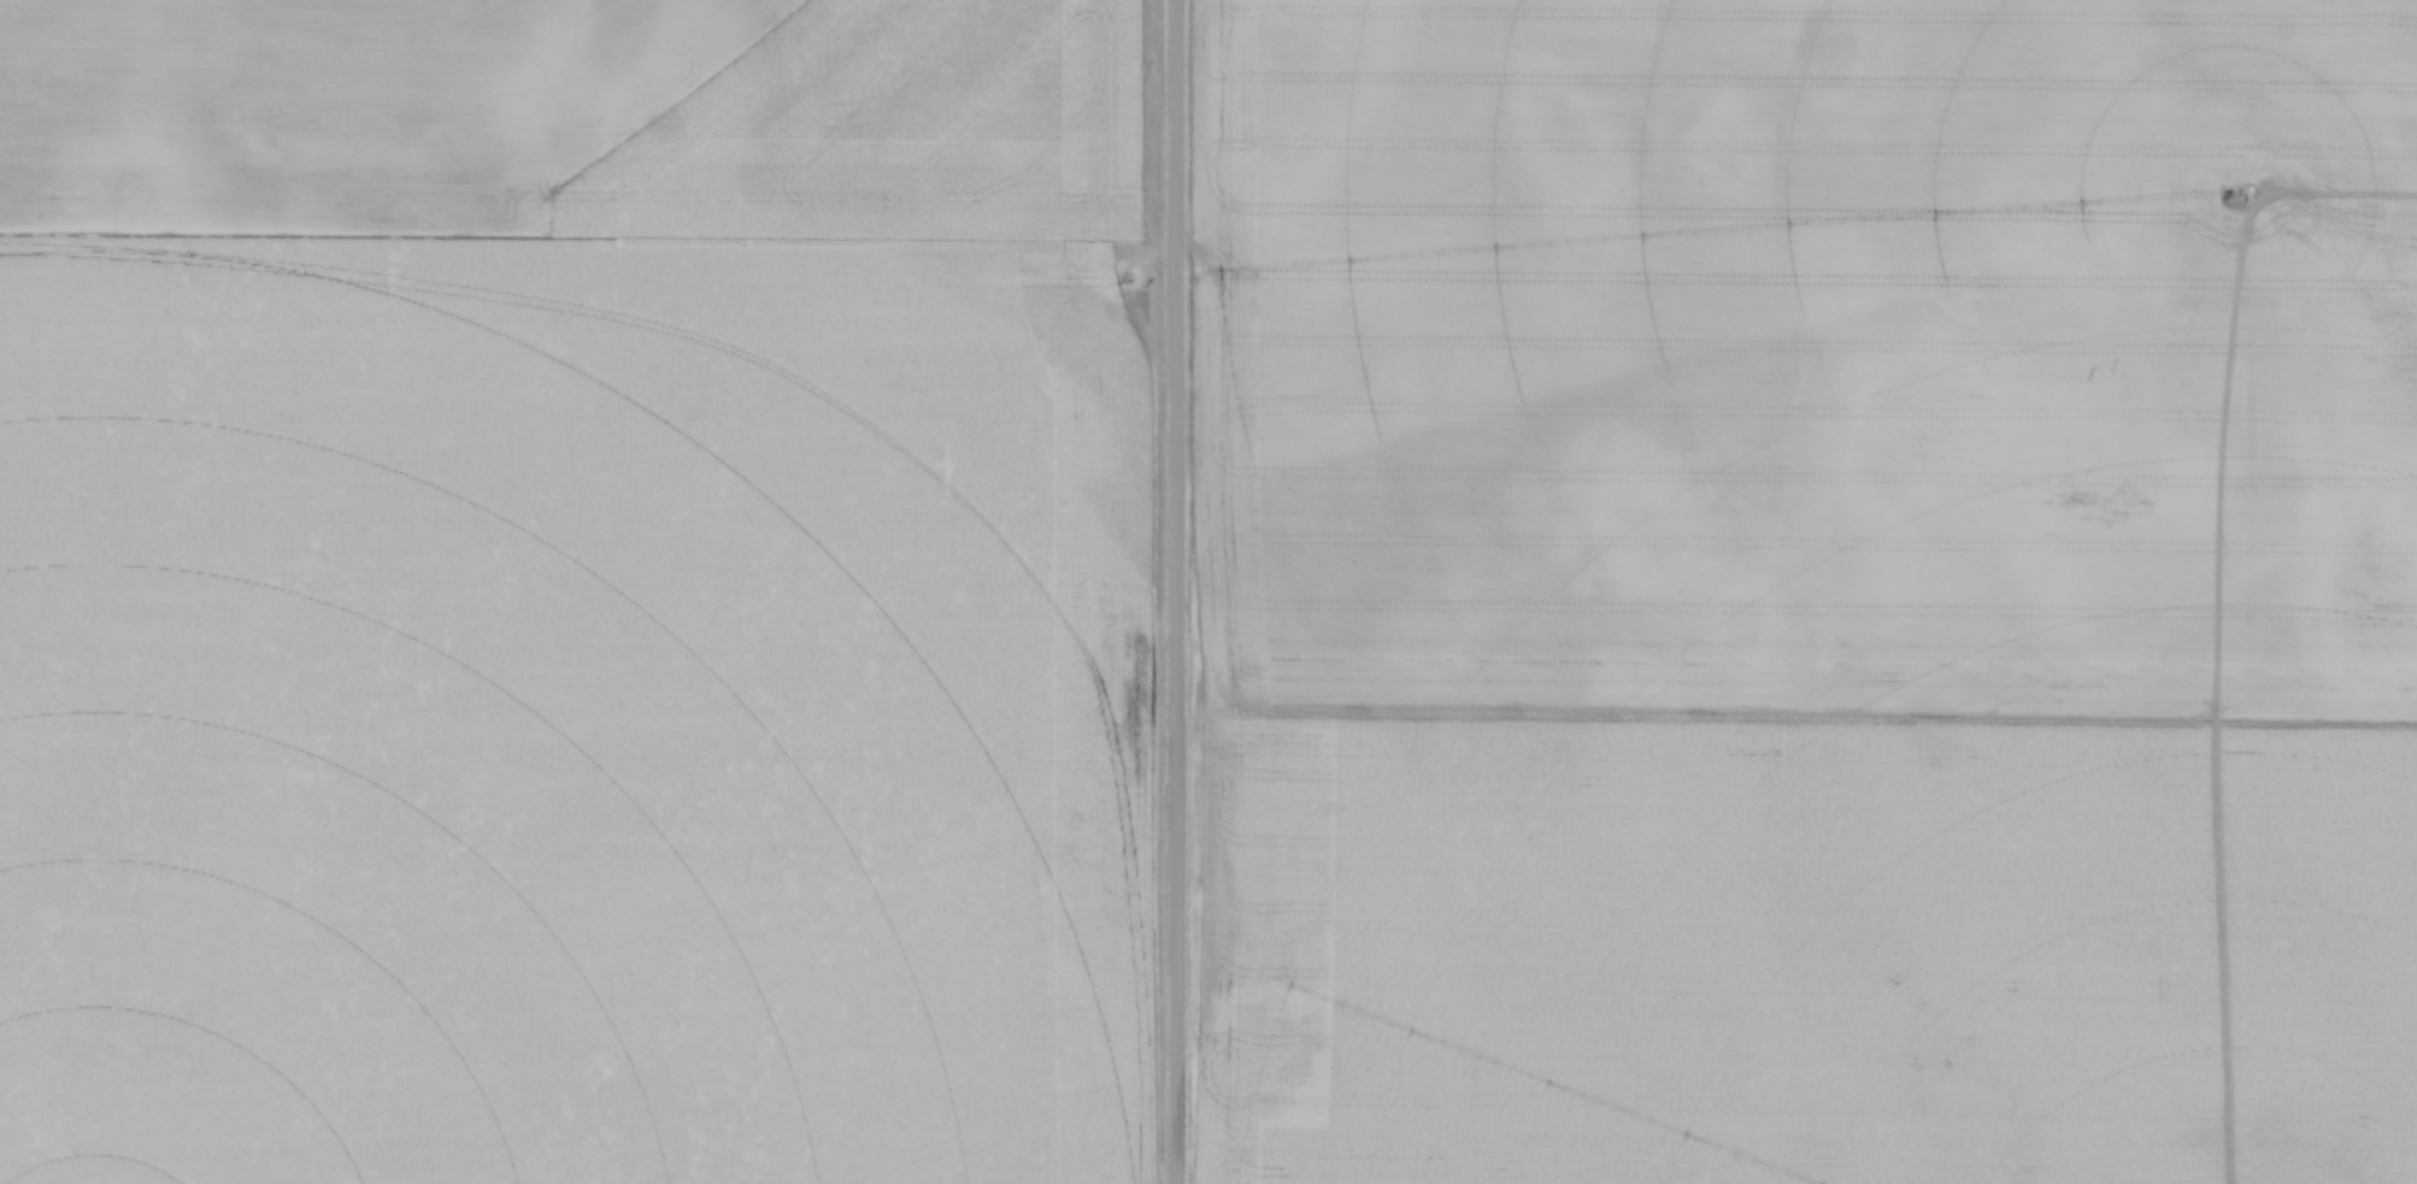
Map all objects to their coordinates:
road: (1175, 591)

